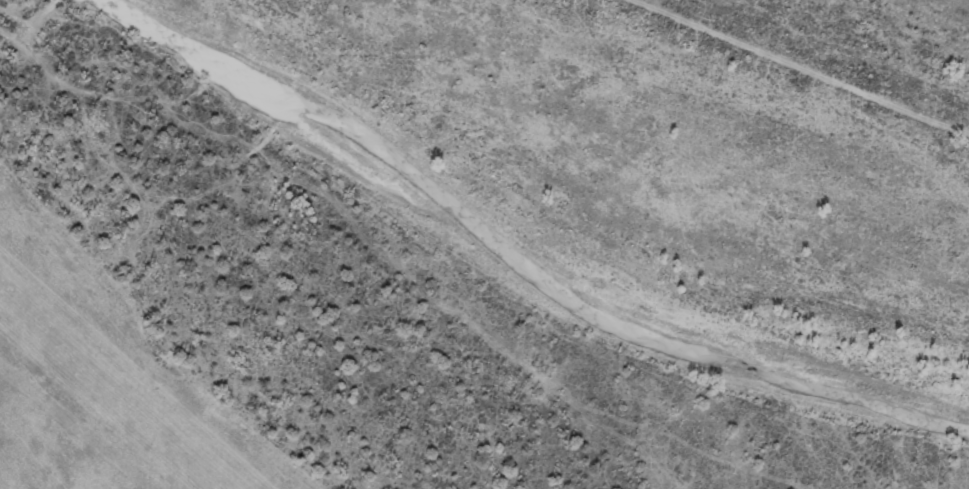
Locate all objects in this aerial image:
river: (523, 250)

